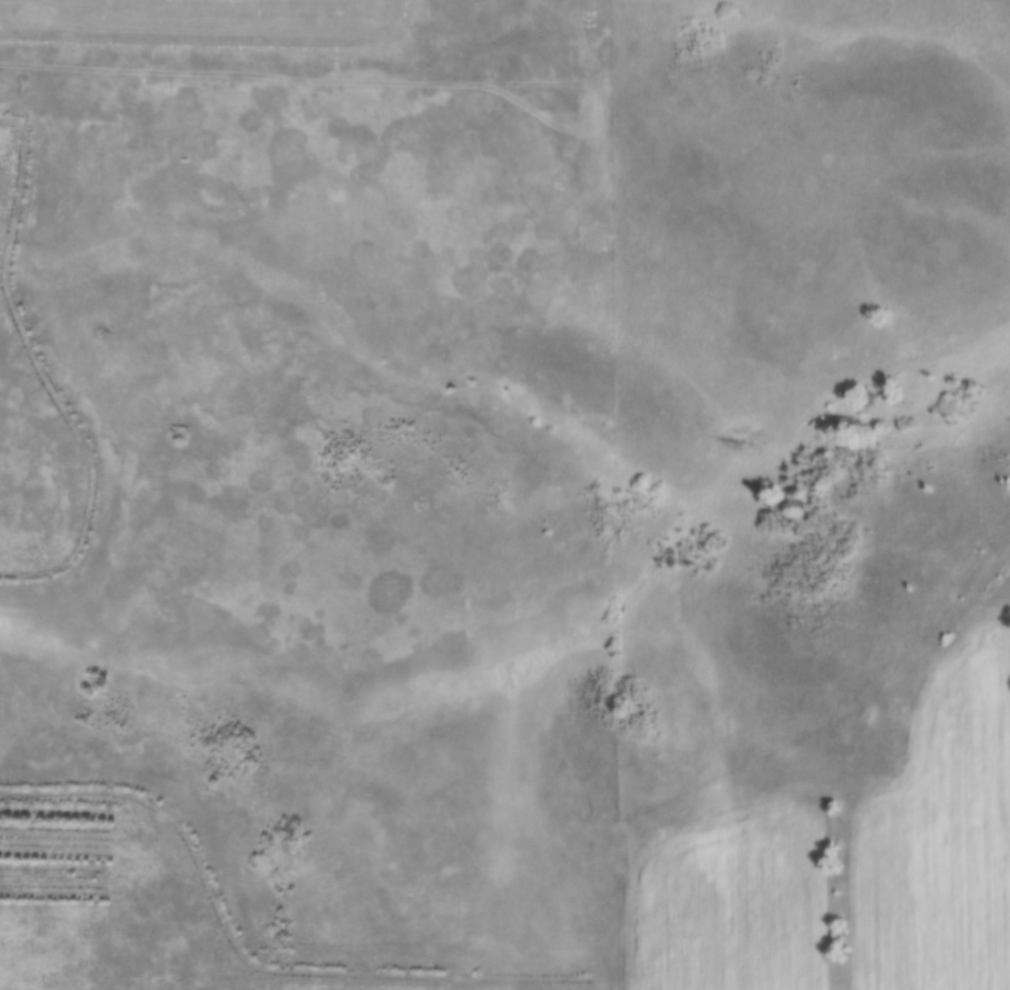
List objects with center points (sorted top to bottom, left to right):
road: (32, 71)

